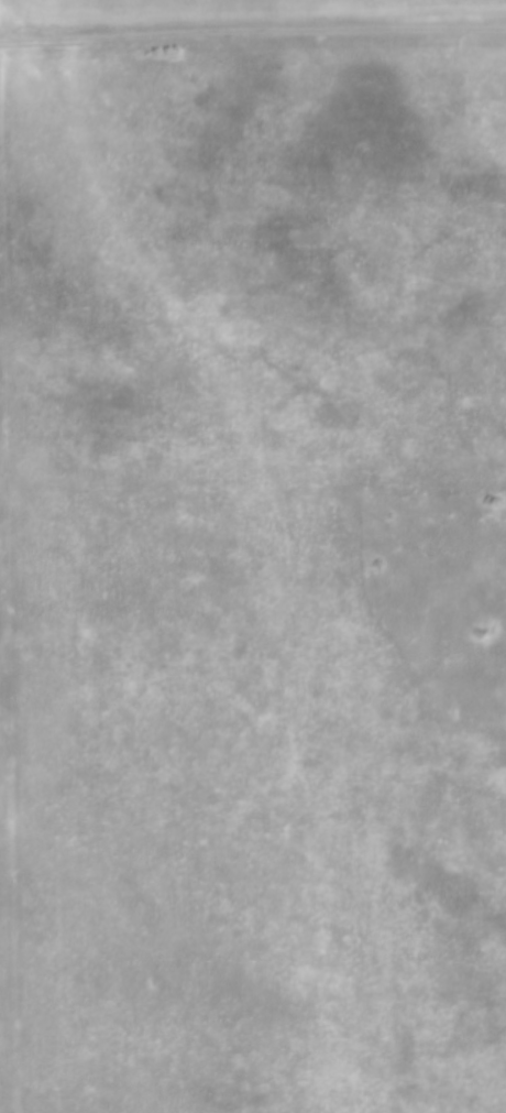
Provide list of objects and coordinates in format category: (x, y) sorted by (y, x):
road: (245, 35)
road: (2, 74)
road: (0, 1106)

